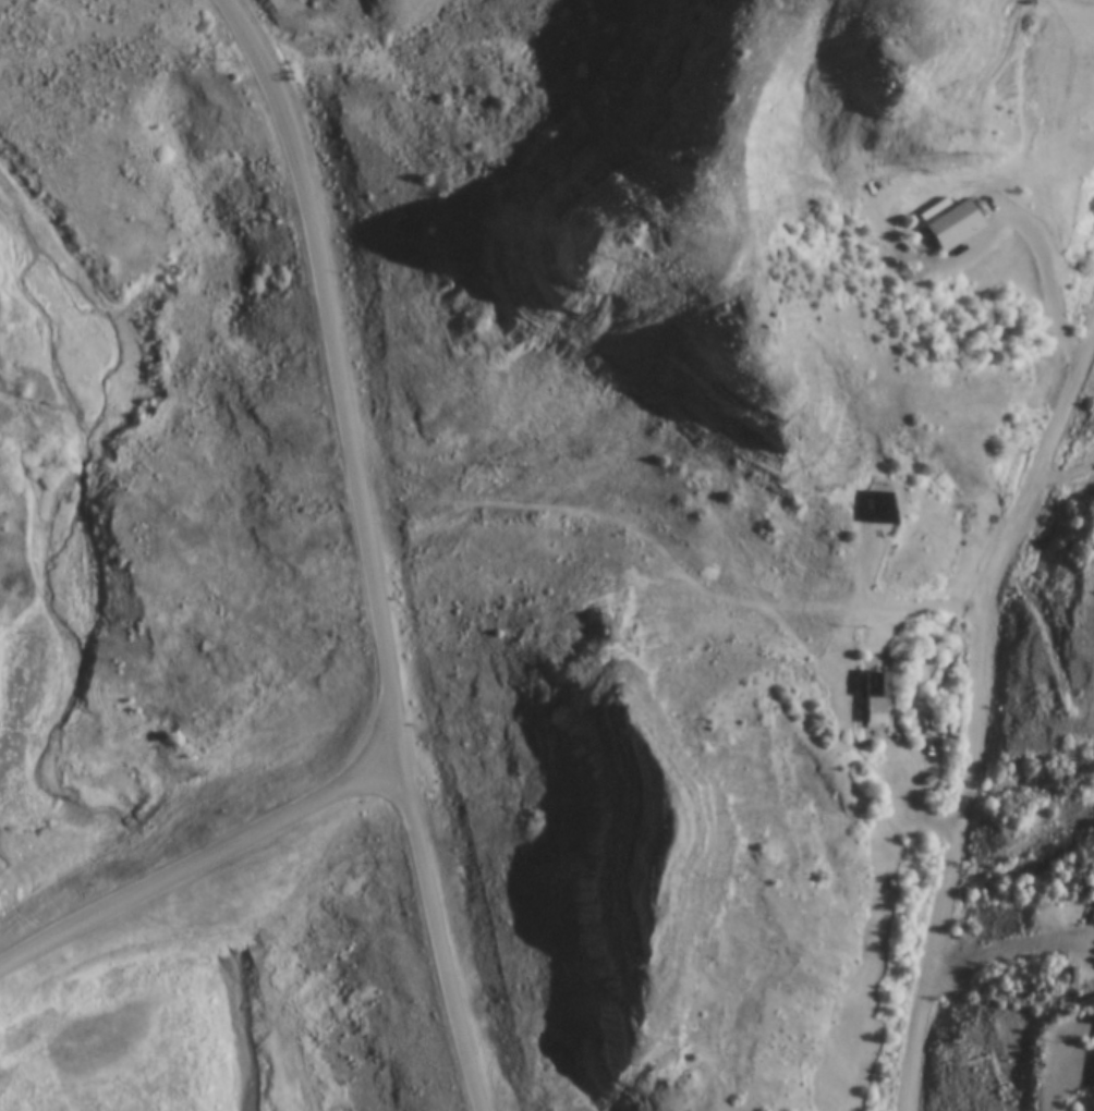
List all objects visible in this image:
building: (947, 225)
road: (1056, 284)
road: (1069, 477)
building: (879, 515)
road: (368, 549)
road: (899, 616)
building: (867, 697)
road: (978, 727)
road: (911, 788)
road: (203, 857)
building: (1093, 898)
road: (1002, 951)
road: (1059, 1075)
building: (1093, 1098)

